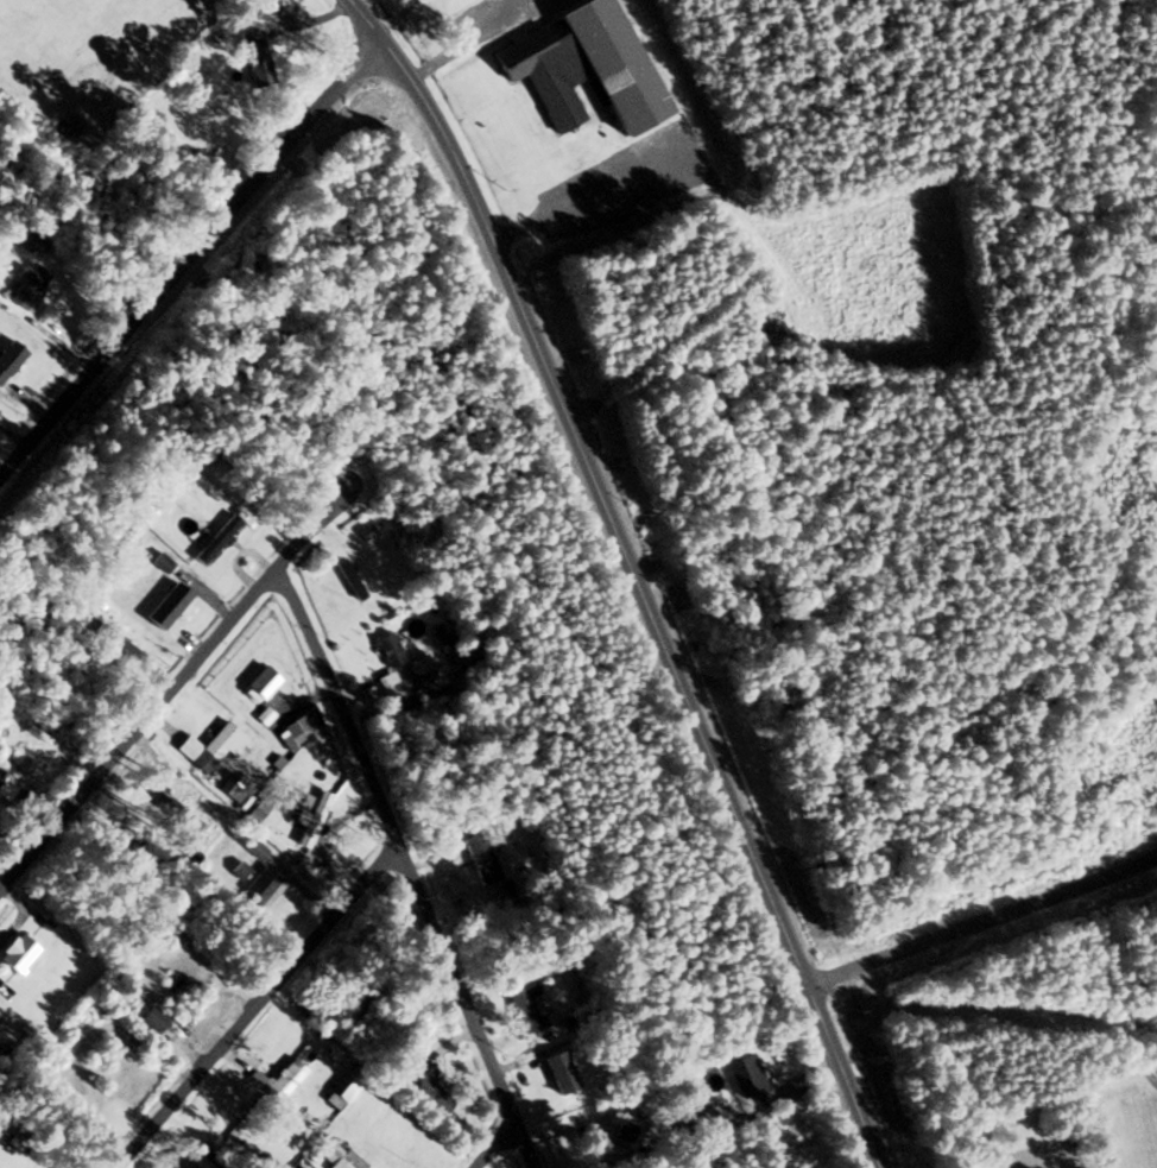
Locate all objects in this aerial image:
road: (480, 39)
building: (253, 58)
building: (608, 63)
building: (542, 72)
building: (34, 242)
road: (190, 261)
building: (27, 283)
building: (10, 358)
building: (215, 539)
building: (160, 562)
road: (632, 573)
building: (348, 579)
building: (172, 591)
building: (153, 618)
building: (112, 638)
building: (387, 649)
building: (257, 684)
road: (170, 689)
building: (297, 728)
building: (211, 746)
building: (6, 787)
building: (233, 789)
building: (257, 809)
building: (306, 814)
building: (179, 820)
building: (183, 854)
building: (480, 858)
road: (398, 865)
building: (255, 891)
building: (15, 953)
road: (249, 1005)
building: (360, 1008)
building: (525, 1008)
building: (152, 1018)
building: (558, 1072)
building: (746, 1077)
building: (278, 1079)
building: (426, 1086)
building: (343, 1087)
building: (688, 1124)
building: (624, 1132)
road: (494, 1148)
building: (206, 1155)
building: (331, 1155)

